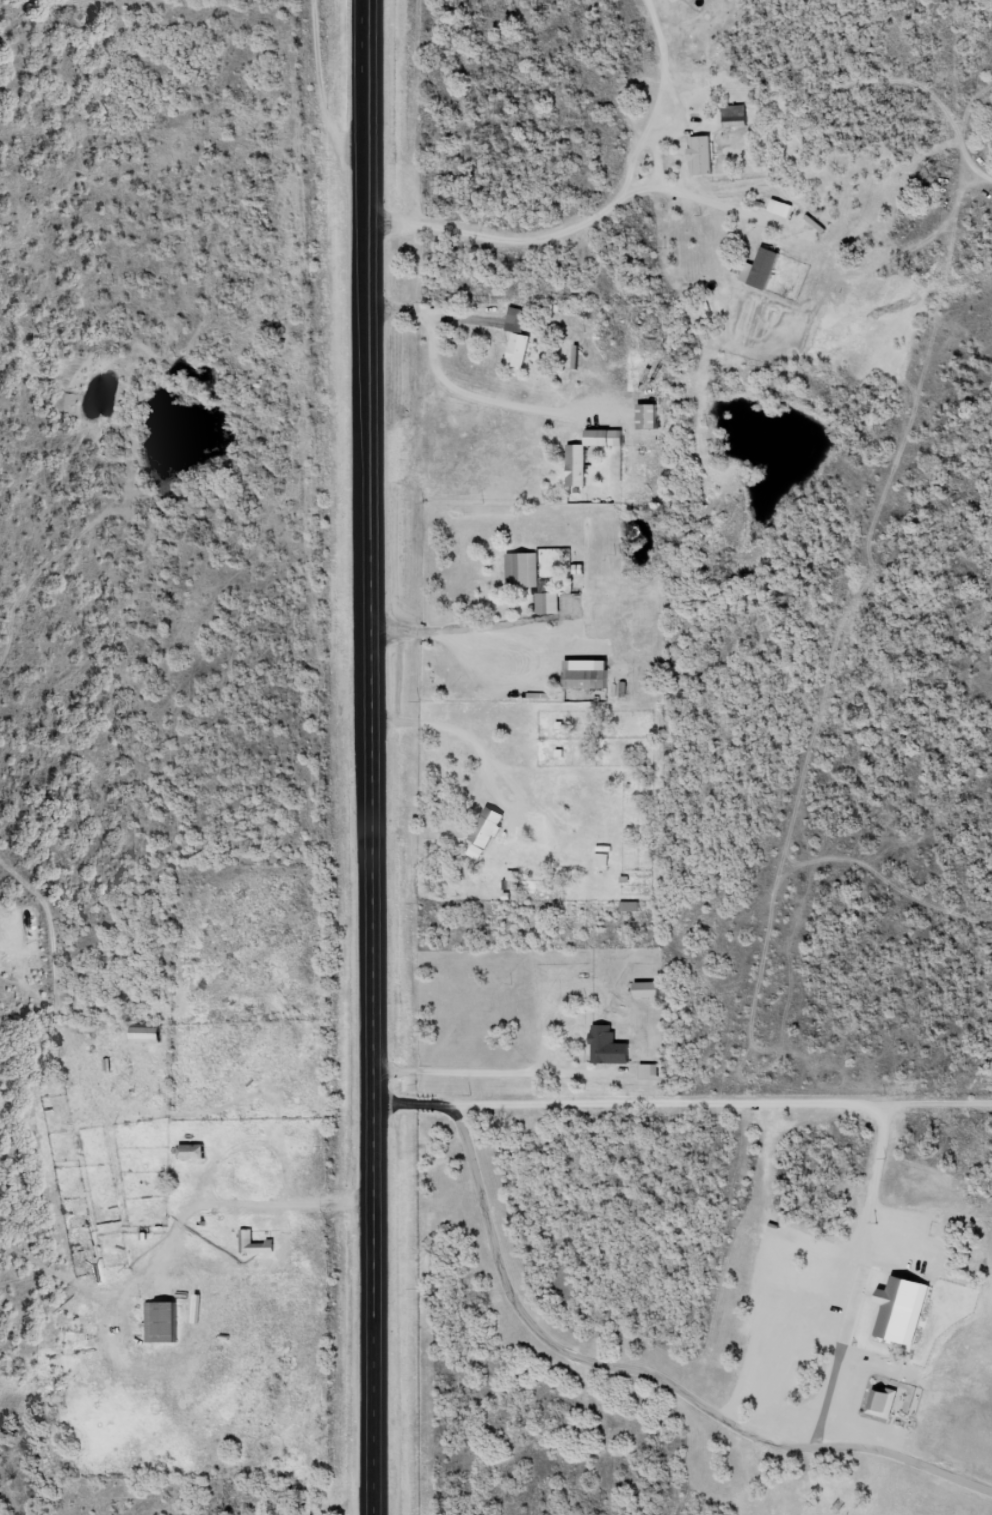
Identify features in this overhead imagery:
building: (735, 116)
building: (703, 155)
road: (971, 195)
building: (766, 268)
building: (519, 338)
building: (650, 416)
building: (578, 466)
road: (260, 469)
building: (523, 570)
building: (549, 603)
building: (589, 675)
road: (829, 727)
road: (369, 757)
building: (489, 827)
road: (194, 848)
building: (601, 861)
road: (892, 898)
building: (648, 990)
building: (150, 1033)
building: (609, 1047)
building: (650, 1072)
building: (193, 1152)
building: (250, 1178)
building: (255, 1244)
road: (184, 1272)
building: (163, 1322)
building: (882, 1402)

